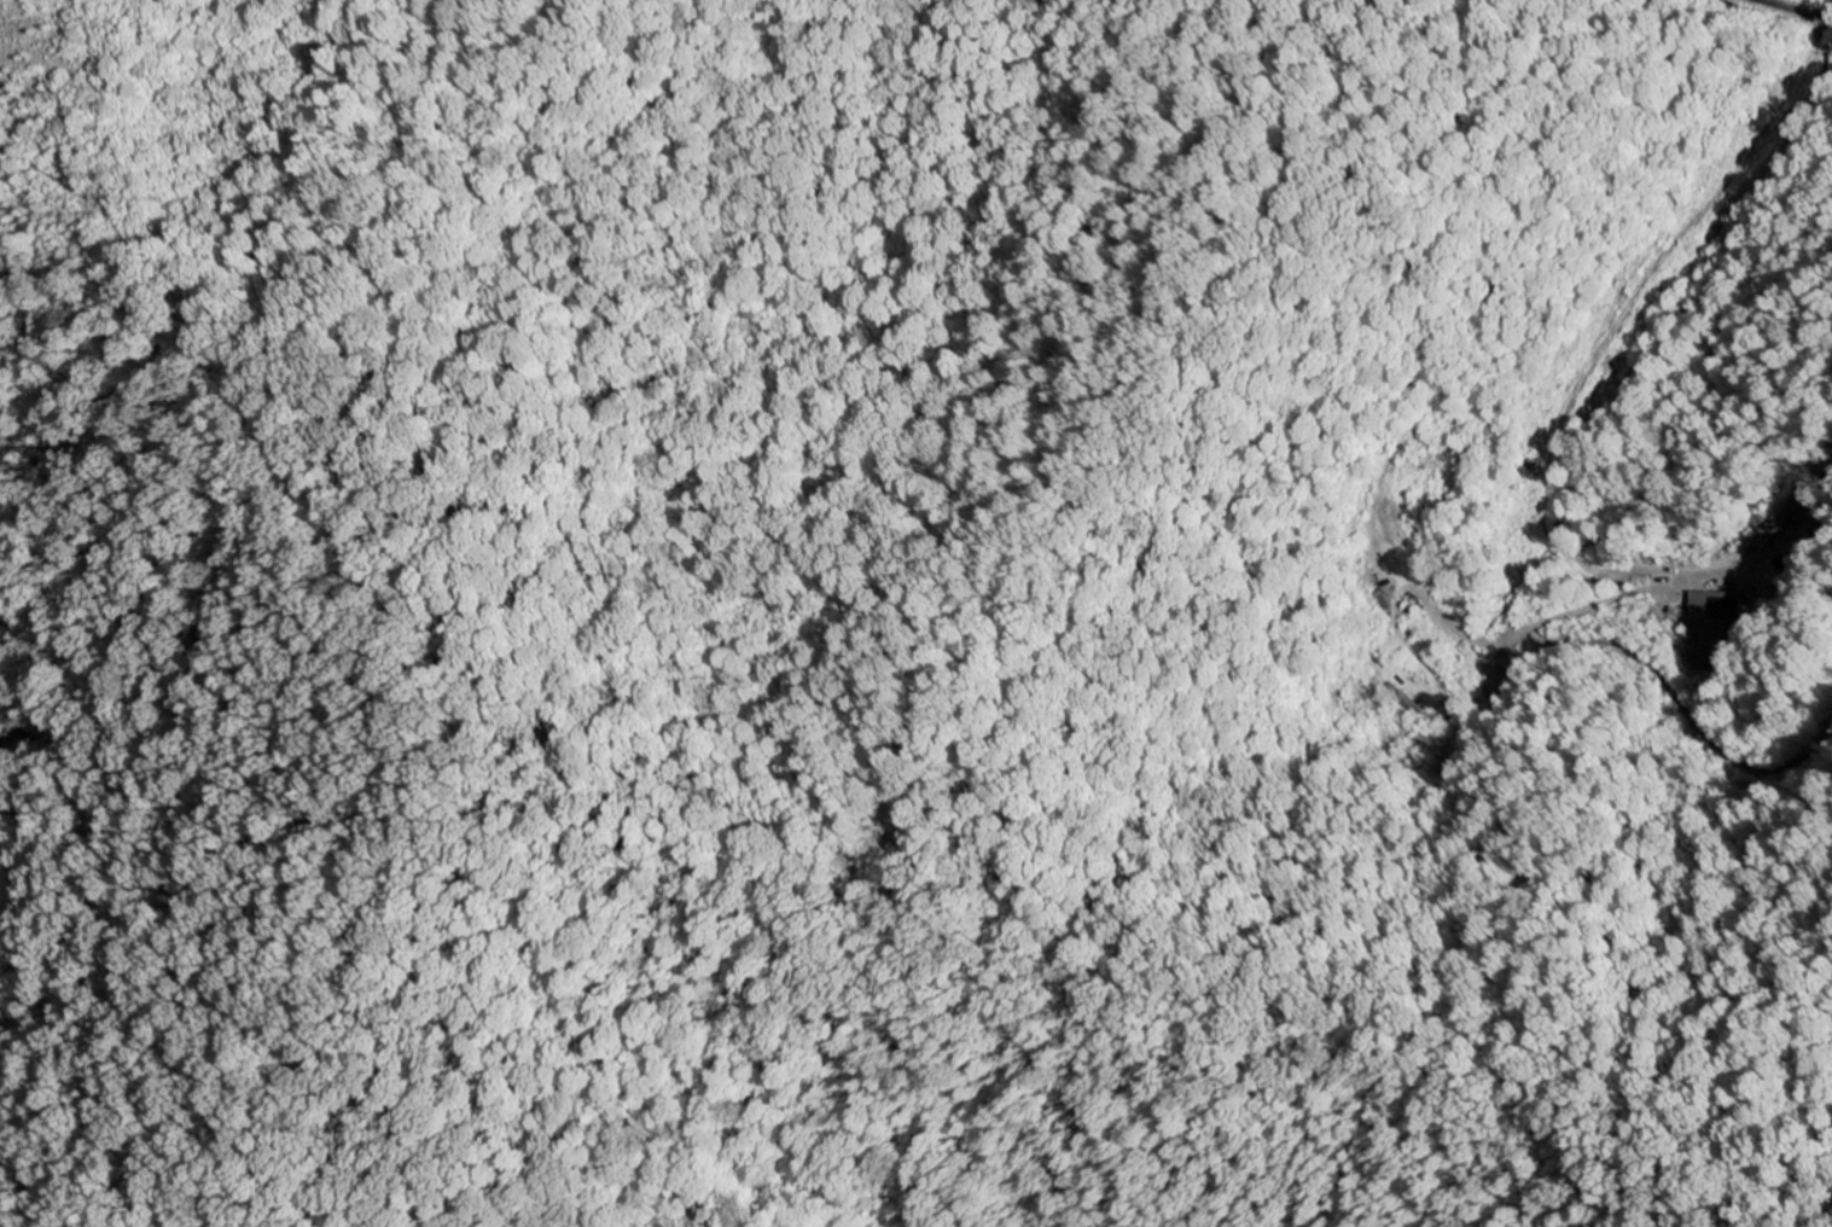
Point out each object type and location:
road: (1784, 11)
road: (1549, 411)
building: (1782, 519)
building: (1708, 607)

